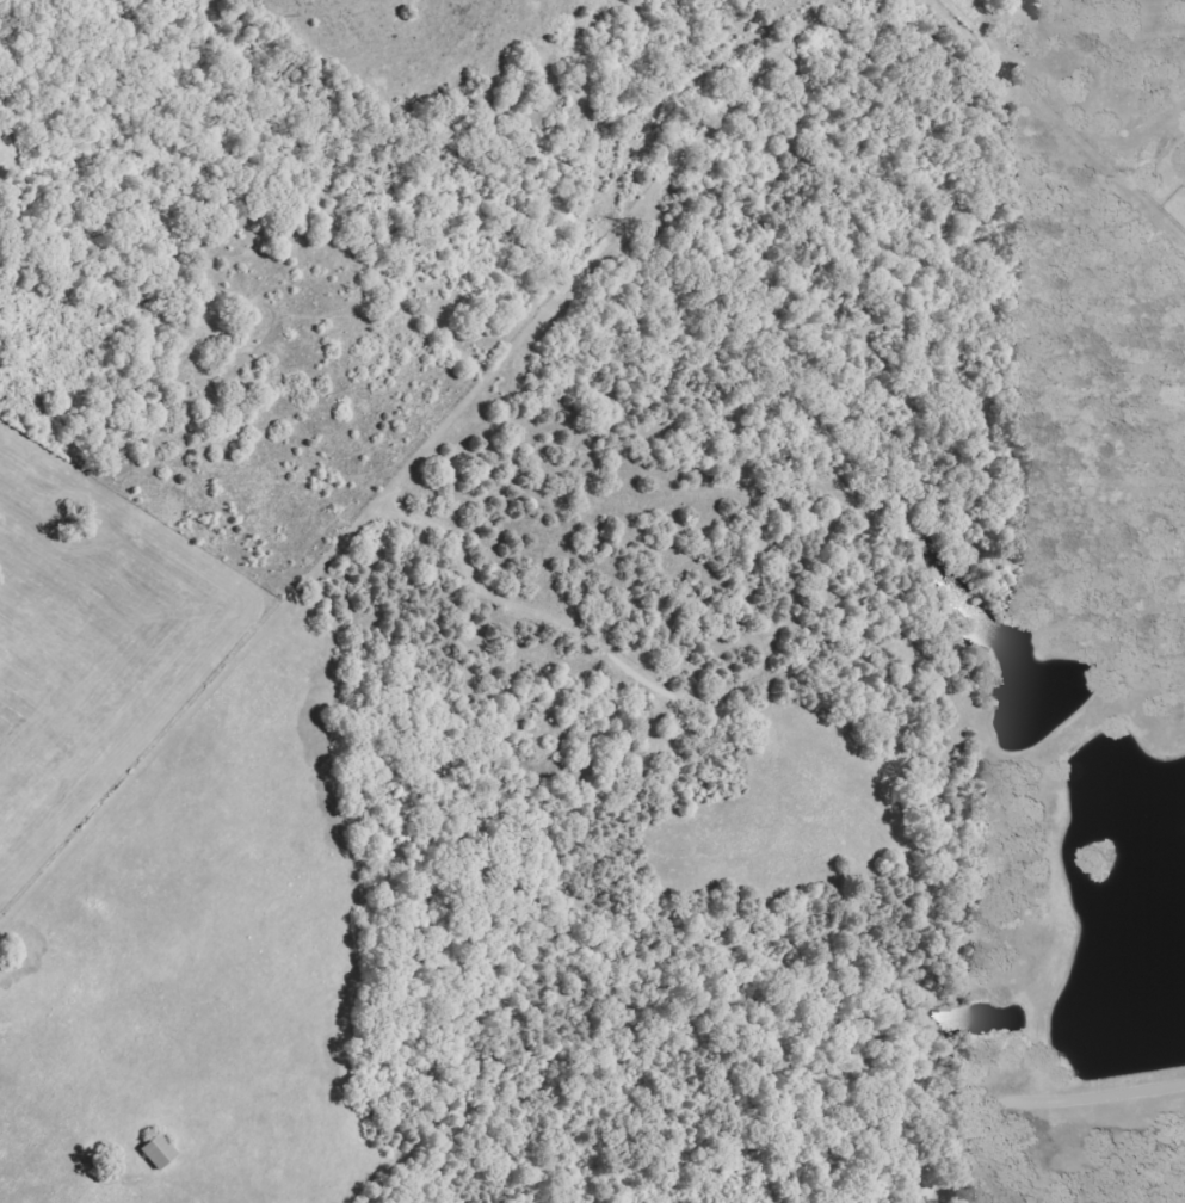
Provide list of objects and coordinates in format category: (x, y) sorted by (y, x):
building: (161, 1153)

